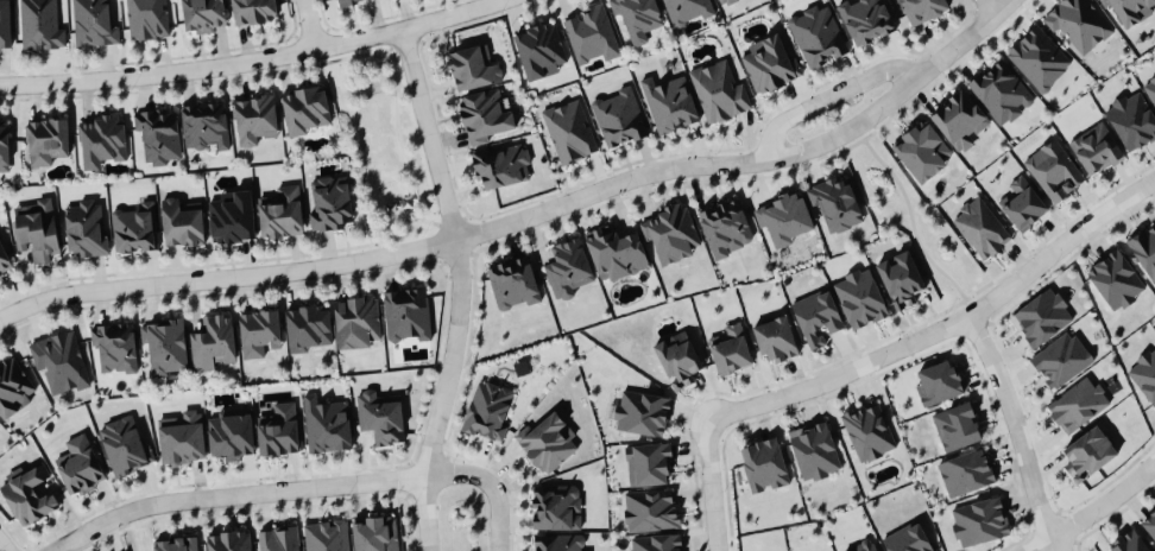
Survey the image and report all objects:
building: (343, 1)
building: (721, 1)
road: (990, 4)
building: (921, 9)
building: (1129, 9)
building: (252, 11)
building: (686, 11)
building: (202, 14)
building: (636, 17)
building: (146, 19)
building: (865, 19)
building: (93, 21)
building: (1078, 23)
building: (5, 24)
building: (40, 24)
road: (304, 25)
building: (589, 33)
building: (815, 33)
building: (539, 49)
building: (1039, 57)
road: (248, 63)
building: (768, 63)
building: (472, 65)
building: (1150, 88)
building: (718, 89)
building: (1001, 91)
road: (826, 96)
building: (669, 102)
building: (304, 108)
building: (484, 114)
building: (619, 116)
building: (253, 118)
building: (1131, 118)
building: (959, 119)
building: (203, 125)
road: (428, 131)
building: (569, 131)
building: (158, 132)
building: (101, 137)
building: (45, 138)
building: (4, 145)
building: (1094, 147)
building: (921, 150)
road: (749, 160)
building: (501, 163)
building: (1053, 171)
building: (835, 201)
building: (330, 202)
building: (1022, 203)
building: (280, 211)
building: (232, 215)
building: (784, 217)
building: (181, 221)
building: (84, 226)
building: (979, 226)
building: (34, 227)
building: (725, 227)
building: (134, 228)
building: (670, 233)
building: (1145, 251)
building: (614, 252)
building: (4, 255)
building: (566, 265)
road: (226, 270)
building: (1, 273)
building: (900, 278)
building: (1115, 279)
building: (513, 283)
building: (858, 297)
building: (405, 313)
building: (814, 313)
building: (1041, 315)
building: (355, 319)
road: (947, 324)
building: (308, 325)
building: (257, 330)
building: (774, 337)
building: (213, 340)
building: (114, 344)
building: (164, 346)
building: (730, 349)
building: (676, 357)
building: (1060, 357)
building: (59, 359)
building: (1144, 372)
building: (936, 381)
building: (12, 385)
road: (441, 393)
building: (1077, 403)
building: (487, 408)
building: (640, 411)
building: (380, 416)
building: (326, 424)
building: (955, 425)
building: (278, 429)
building: (867, 430)
road: (1016, 430)
building: (231, 433)
building: (182, 437)
building: (545, 439)
building: (122, 444)
building: (814, 449)
building: (1087, 451)
building: (648, 462)
building: (762, 463)
building: (80, 464)
building: (965, 471)
road: (488, 486)
road: (713, 487)
road: (234, 492)
building: (27, 493)
building: (555, 506)
building: (650, 508)
road: (1093, 509)
building: (978, 519)
building: (1149, 522)
building: (374, 533)
building: (327, 536)
building: (278, 538)
building: (907, 538)
building: (229, 540)
building: (557, 541)
building: (656, 541)
building: (1126, 543)
building: (176, 544)
road: (4, 545)
building: (860, 545)

